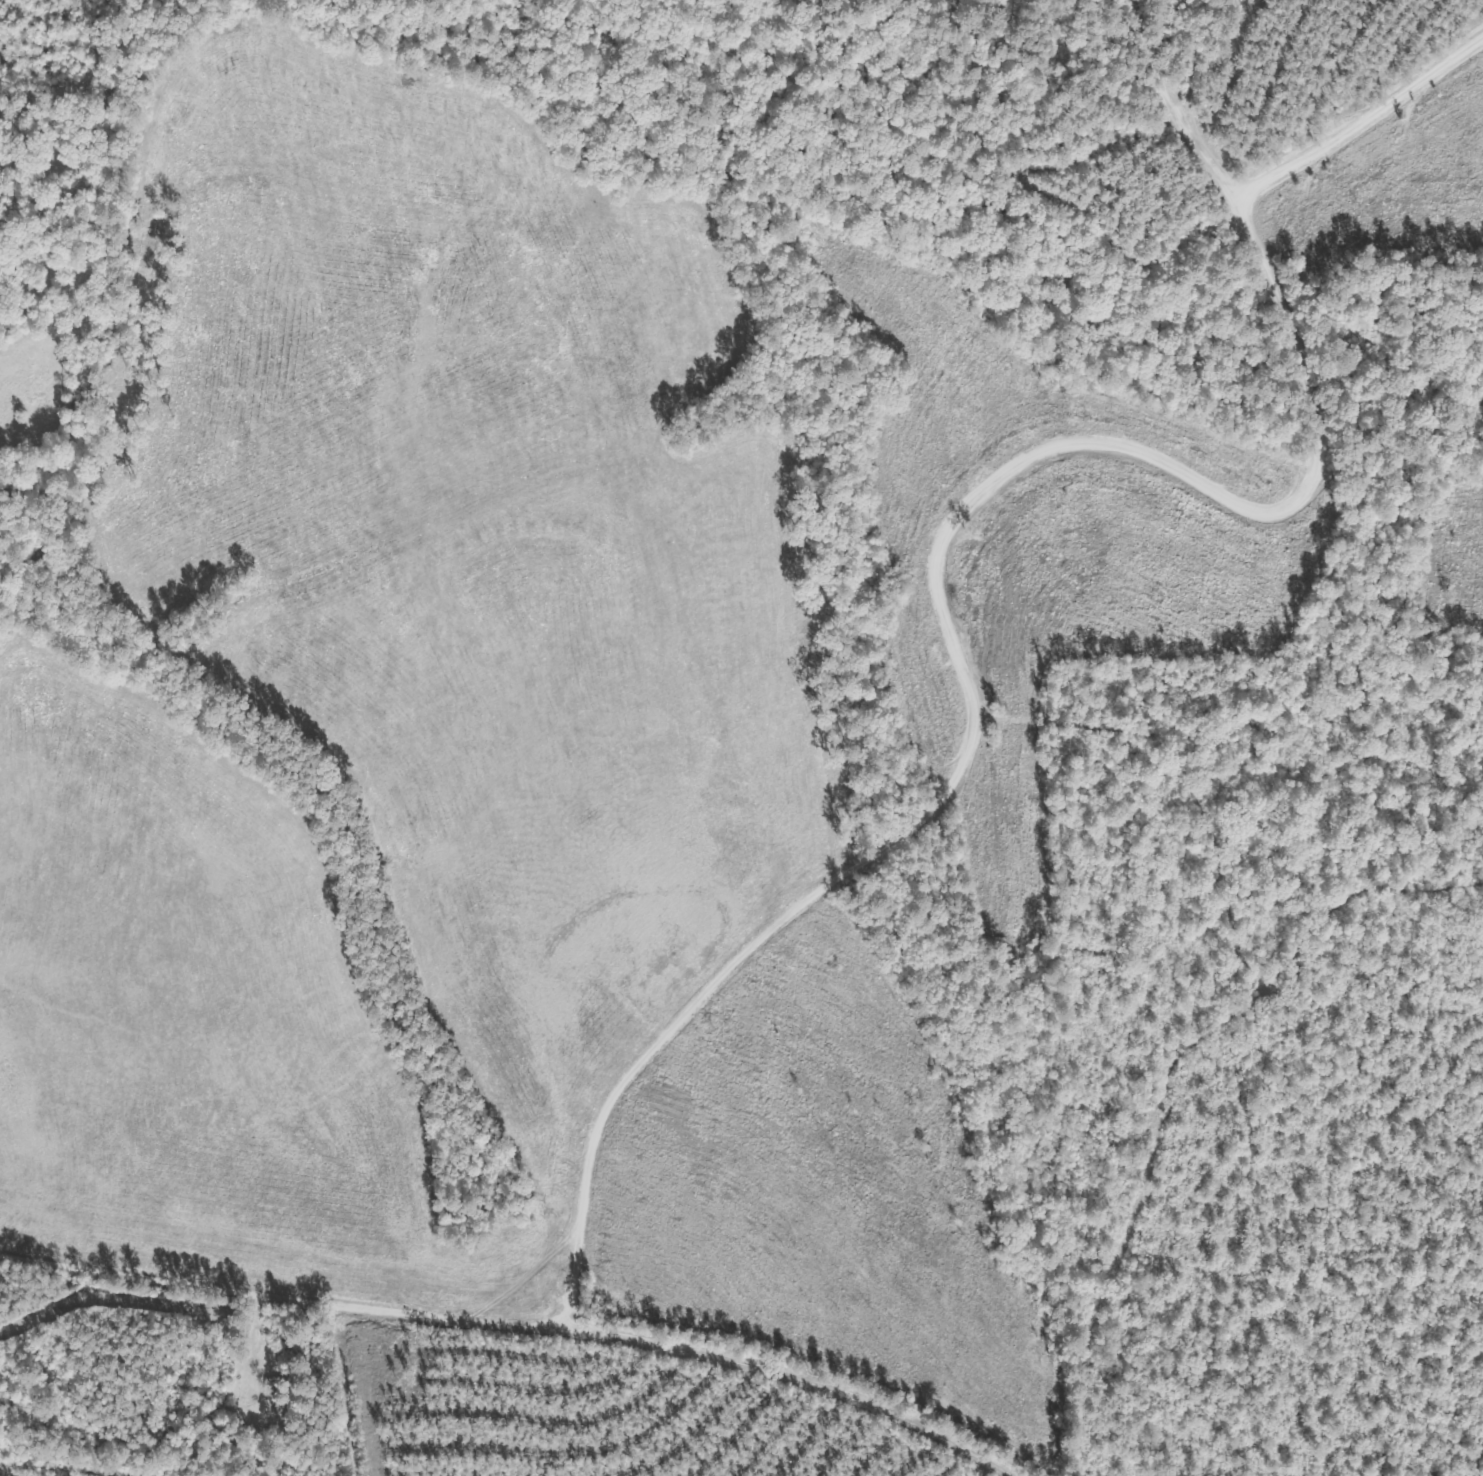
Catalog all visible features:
road: (1168, 109)
road: (941, 664)
road: (464, 1320)

